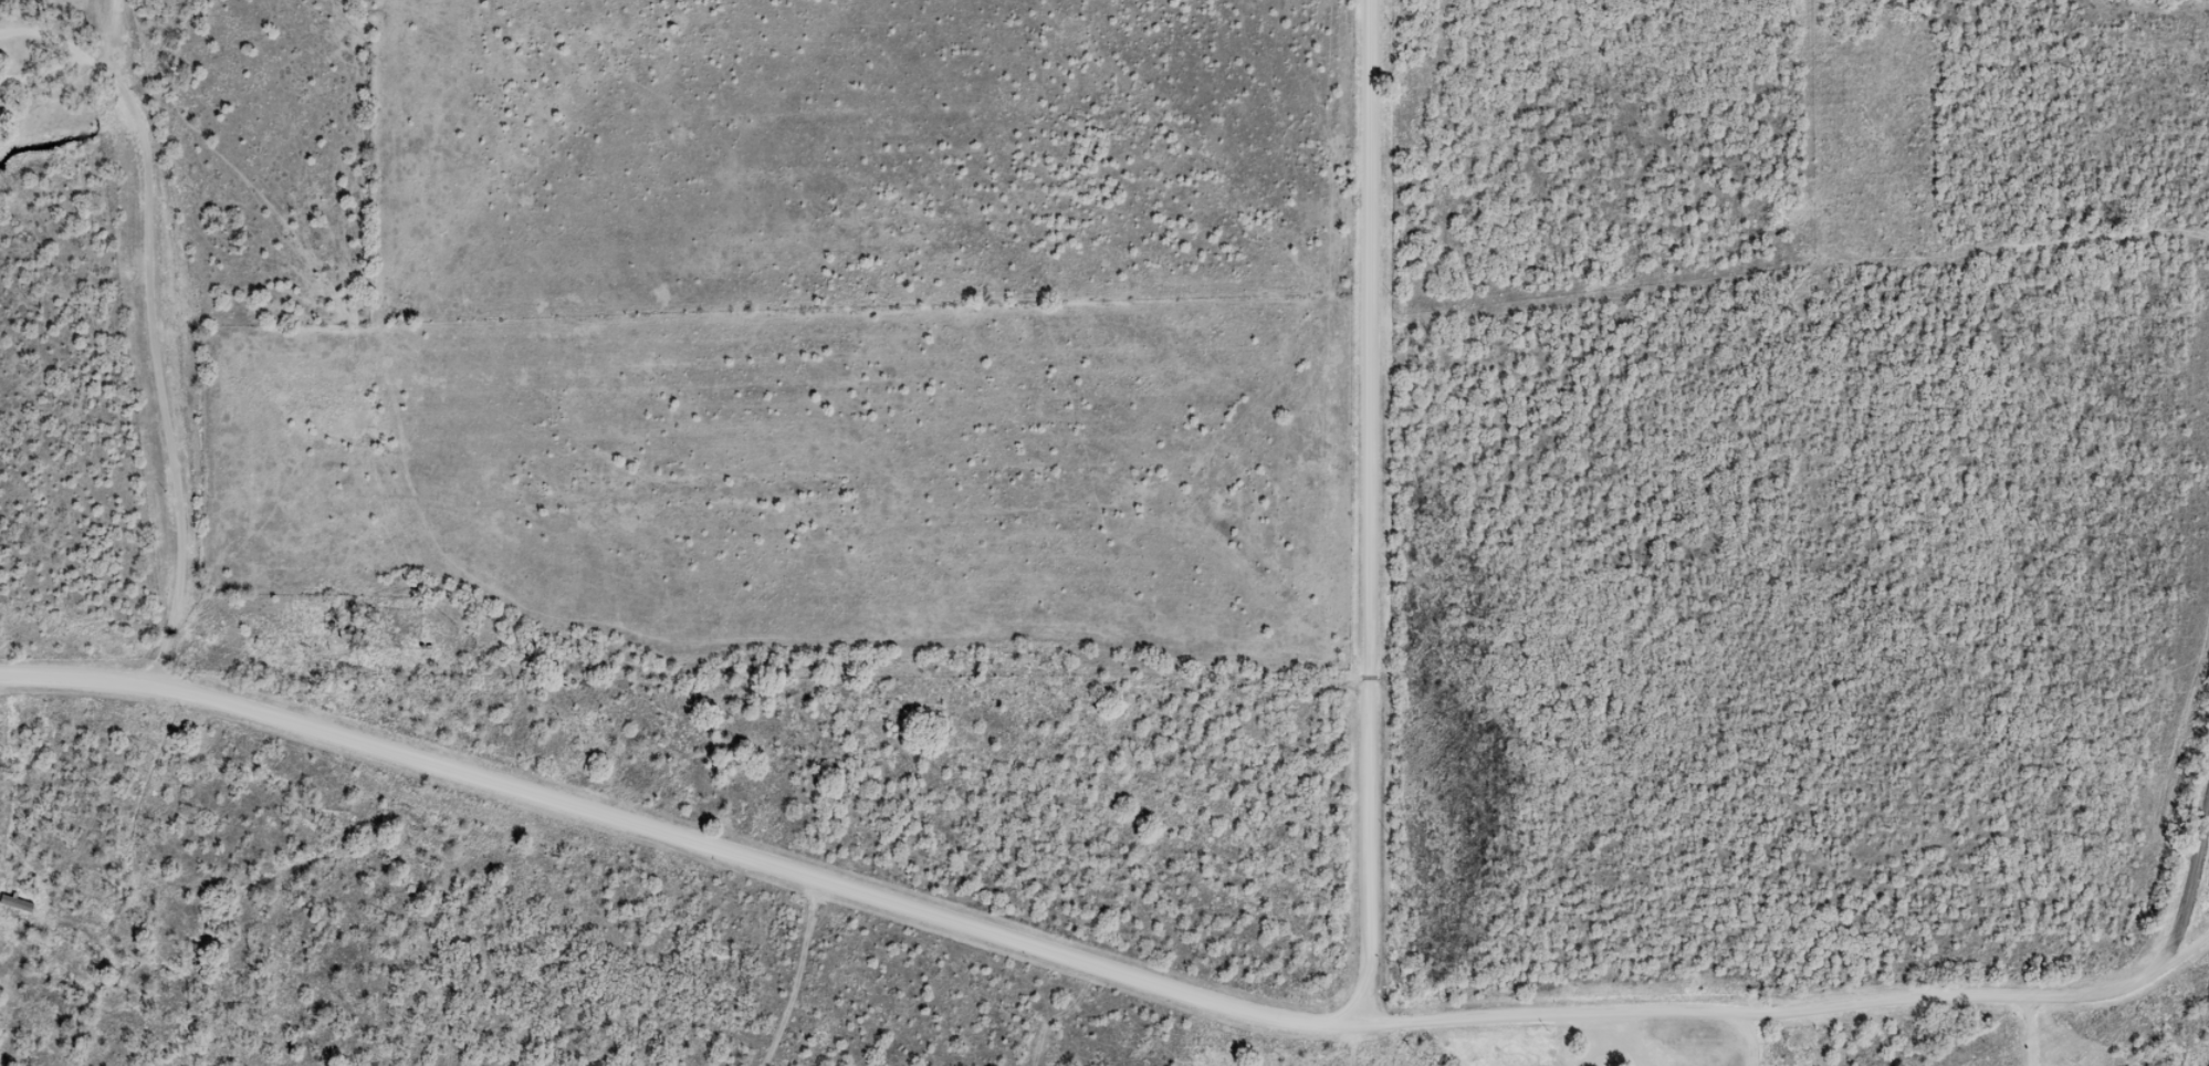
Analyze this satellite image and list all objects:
road: (174, 337)
road: (1394, 511)
road: (82, 686)
road: (820, 888)
road: (341, 902)
road: (2208, 920)
road: (1822, 1003)

